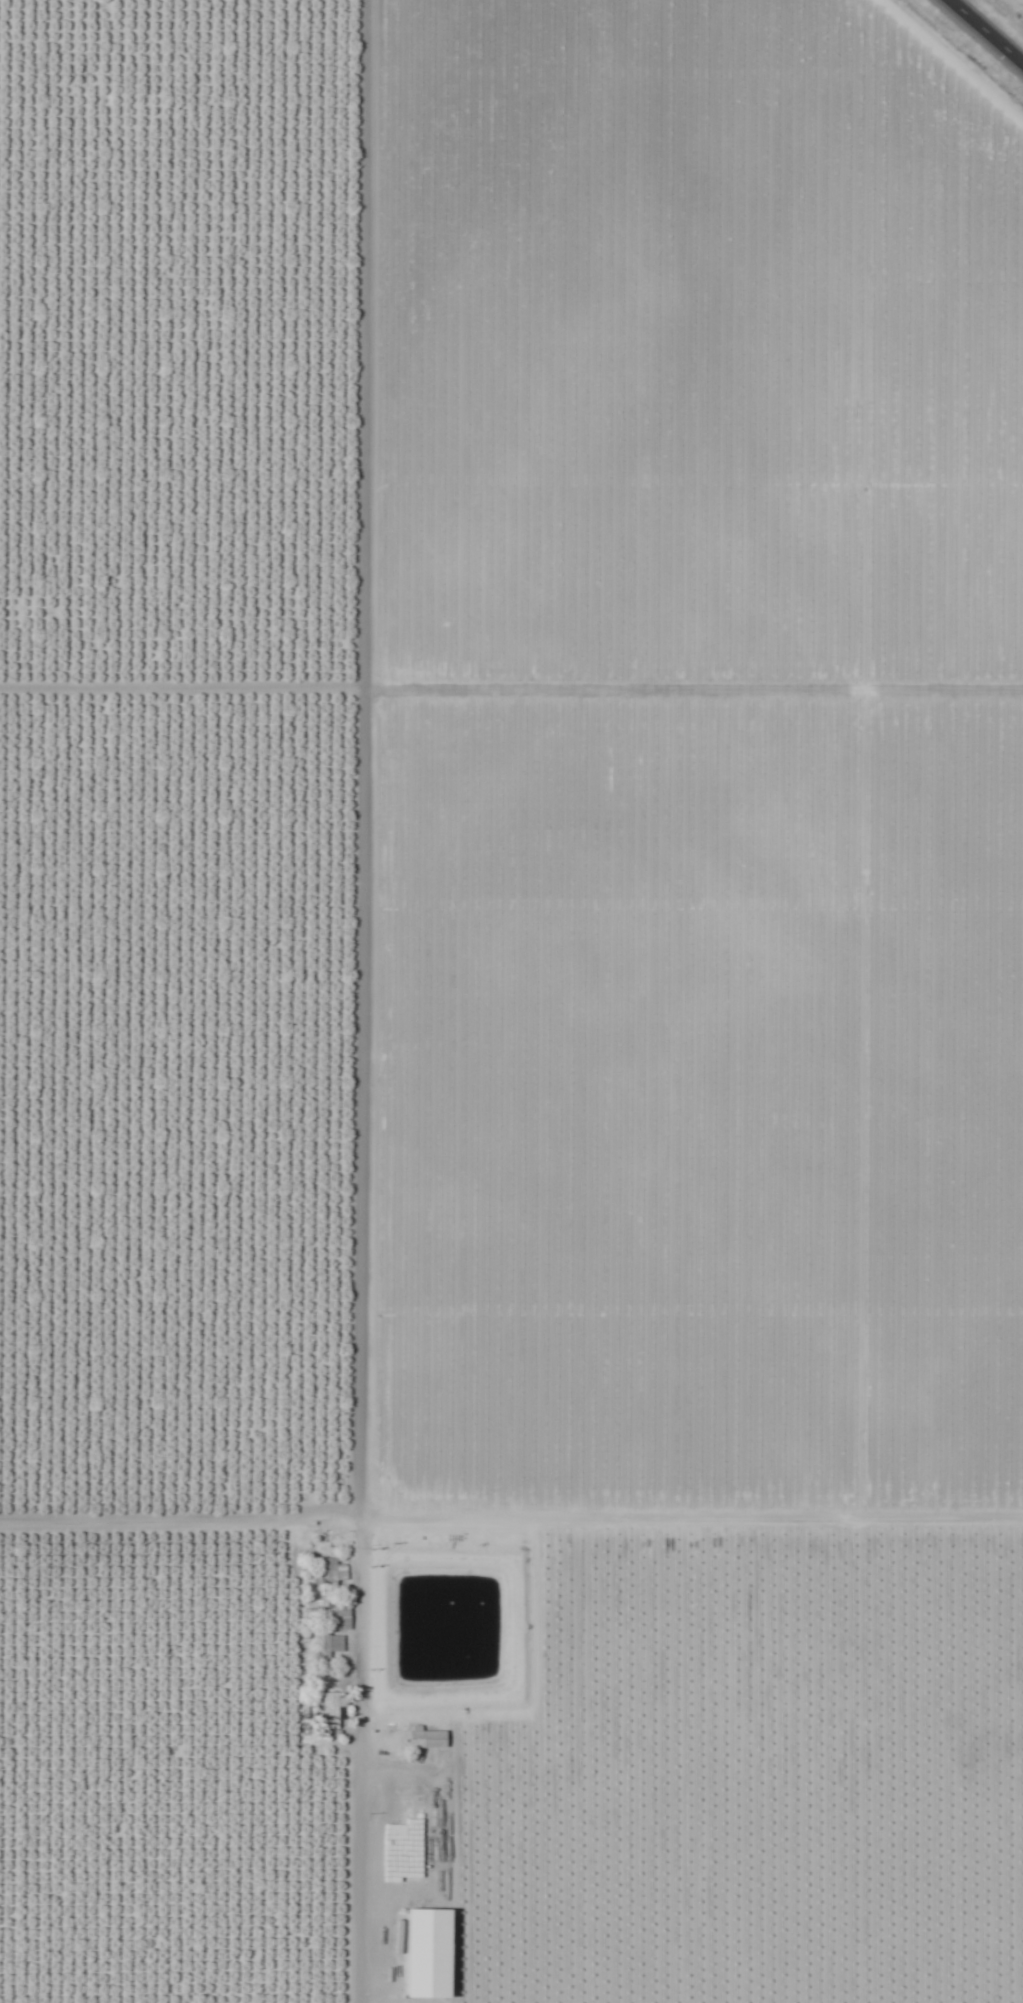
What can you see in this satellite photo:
road: (984, 33)
crop: (508, 1007)
road: (324, 1562)
building: (330, 1576)
building: (336, 1613)
building: (331, 1647)
building: (437, 1703)
building: (330, 1712)
building: (430, 1739)
building: (431, 1953)

